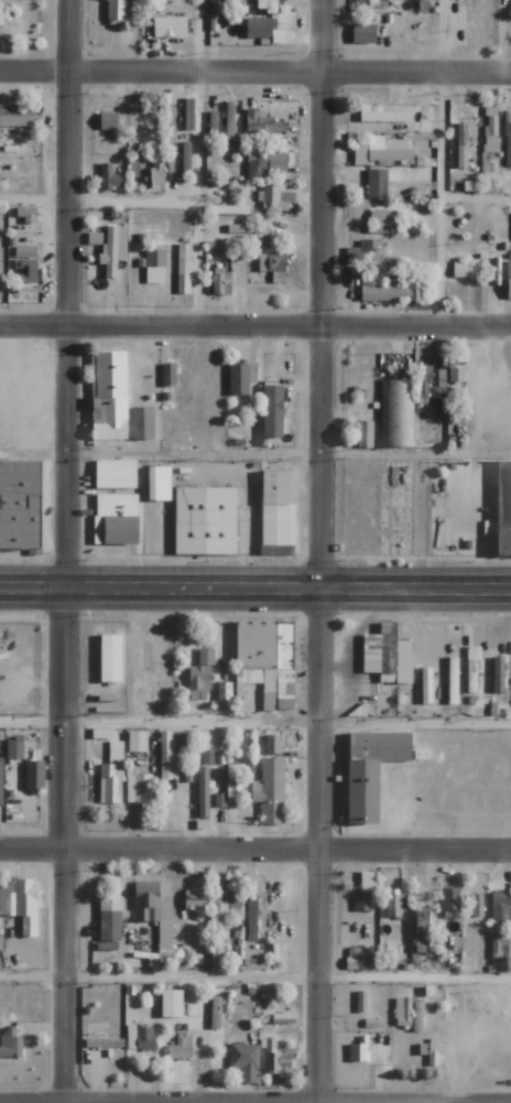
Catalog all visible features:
building: (434, 0)
building: (1, 12)
building: (115, 12)
building: (170, 26)
building: (262, 29)
building: (361, 33)
road: (198, 36)
road: (442, 36)
road: (254, 74)
building: (187, 115)
building: (382, 115)
building: (17, 117)
building: (228, 120)
building: (108, 121)
building: (166, 123)
building: (210, 125)
building: (262, 125)
building: (488, 140)
building: (507, 142)
building: (461, 144)
building: (393, 149)
building: (185, 159)
building: (264, 164)
building: (132, 167)
building: (153, 175)
building: (109, 177)
building: (376, 184)
road: (34, 198)
road: (132, 198)
building: (273, 198)
road: (476, 198)
road: (195, 201)
road: (439, 201)
building: (25, 214)
building: (382, 218)
building: (94, 239)
building: (112, 248)
building: (369, 250)
building: (24, 252)
building: (153, 266)
building: (272, 266)
building: (183, 268)
building: (464, 269)
building: (24, 270)
building: (508, 279)
building: (219, 283)
building: (387, 288)
road: (254, 328)
building: (455, 372)
building: (167, 375)
building: (240, 378)
building: (422, 381)
building: (110, 396)
building: (436, 396)
building: (271, 411)
building: (395, 413)
building: (141, 423)
building: (363, 434)
road: (289, 454)
building: (116, 474)
building: (159, 483)
building: (20, 505)
building: (275, 508)
building: (505, 509)
building: (116, 518)
building: (205, 520)
road: (66, 551)
road: (320, 551)
road: (255, 586)
building: (205, 657)
building: (111, 658)
building: (265, 661)
building: (497, 674)
building: (470, 675)
building: (452, 680)
building: (197, 682)
building: (425, 685)
building: (222, 691)
road: (33, 721)
road: (287, 722)
building: (135, 742)
building: (271, 744)
building: (13, 750)
building: (168, 751)
building: (372, 770)
building: (34, 776)
building: (0, 779)
building: (109, 782)
building: (137, 789)
building: (231, 789)
building: (269, 791)
building: (202, 792)
building: (217, 800)
road: (255, 850)
building: (363, 890)
building: (0, 897)
building: (449, 900)
building: (194, 901)
building: (21, 902)
building: (392, 906)
building: (499, 906)
building: (476, 912)
building: (109, 918)
building: (250, 918)
building: (220, 920)
building: (420, 931)
building: (164, 937)
building: (499, 945)
road: (255, 976)
building: (360, 1002)
building: (171, 1003)
building: (214, 1013)
building: (409, 1013)
building: (139, 1038)
building: (9, 1043)
building: (102, 1043)
building: (178, 1049)
building: (358, 1052)
building: (434, 1052)
building: (243, 1061)
building: (279, 1066)

